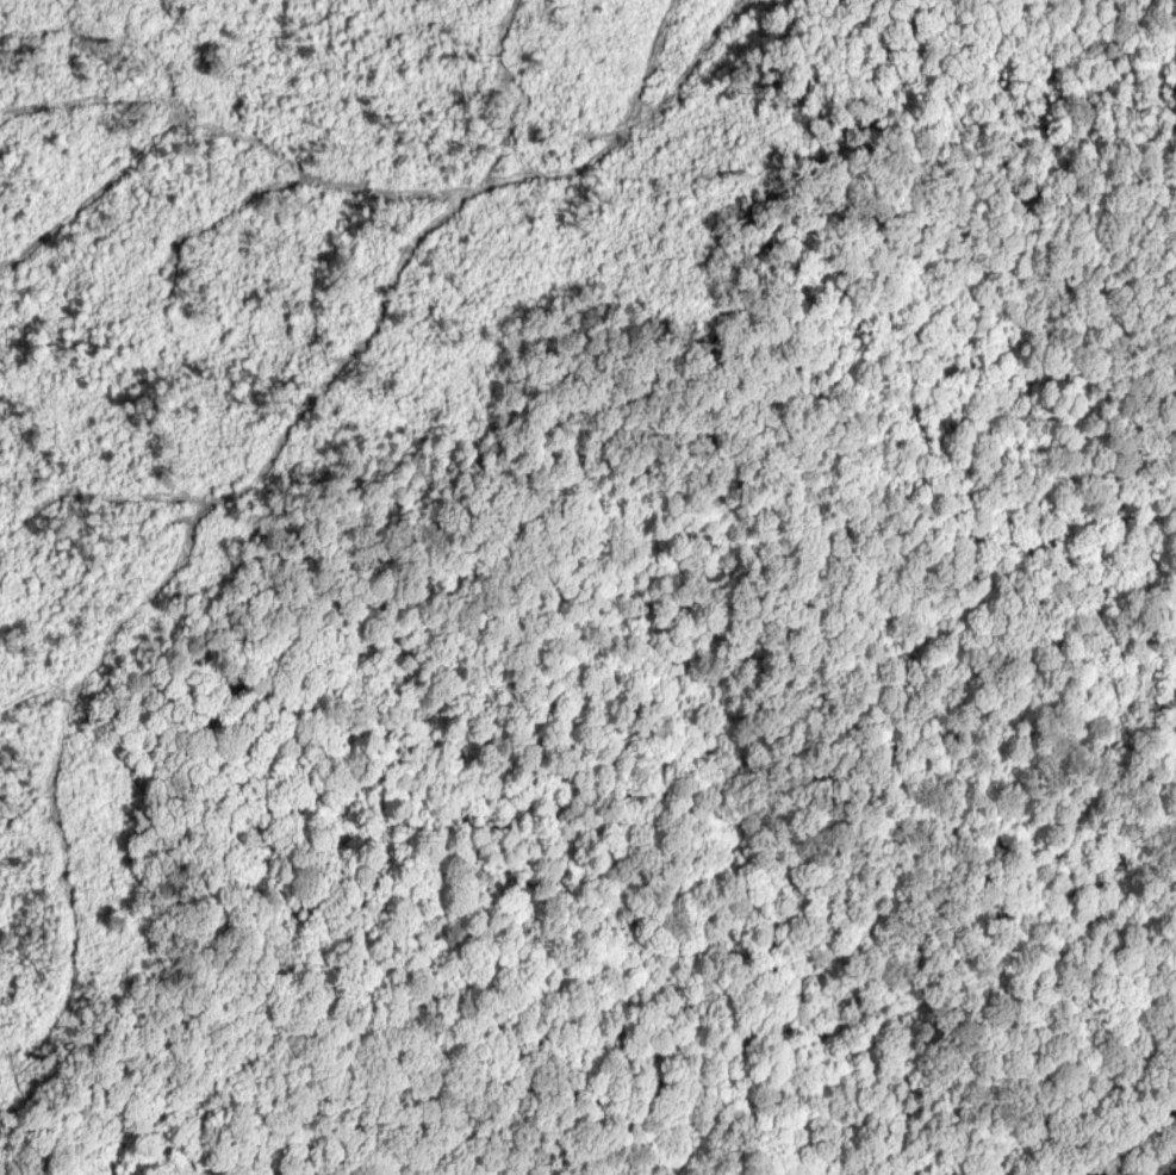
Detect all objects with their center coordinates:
road: (1124, 1137)

